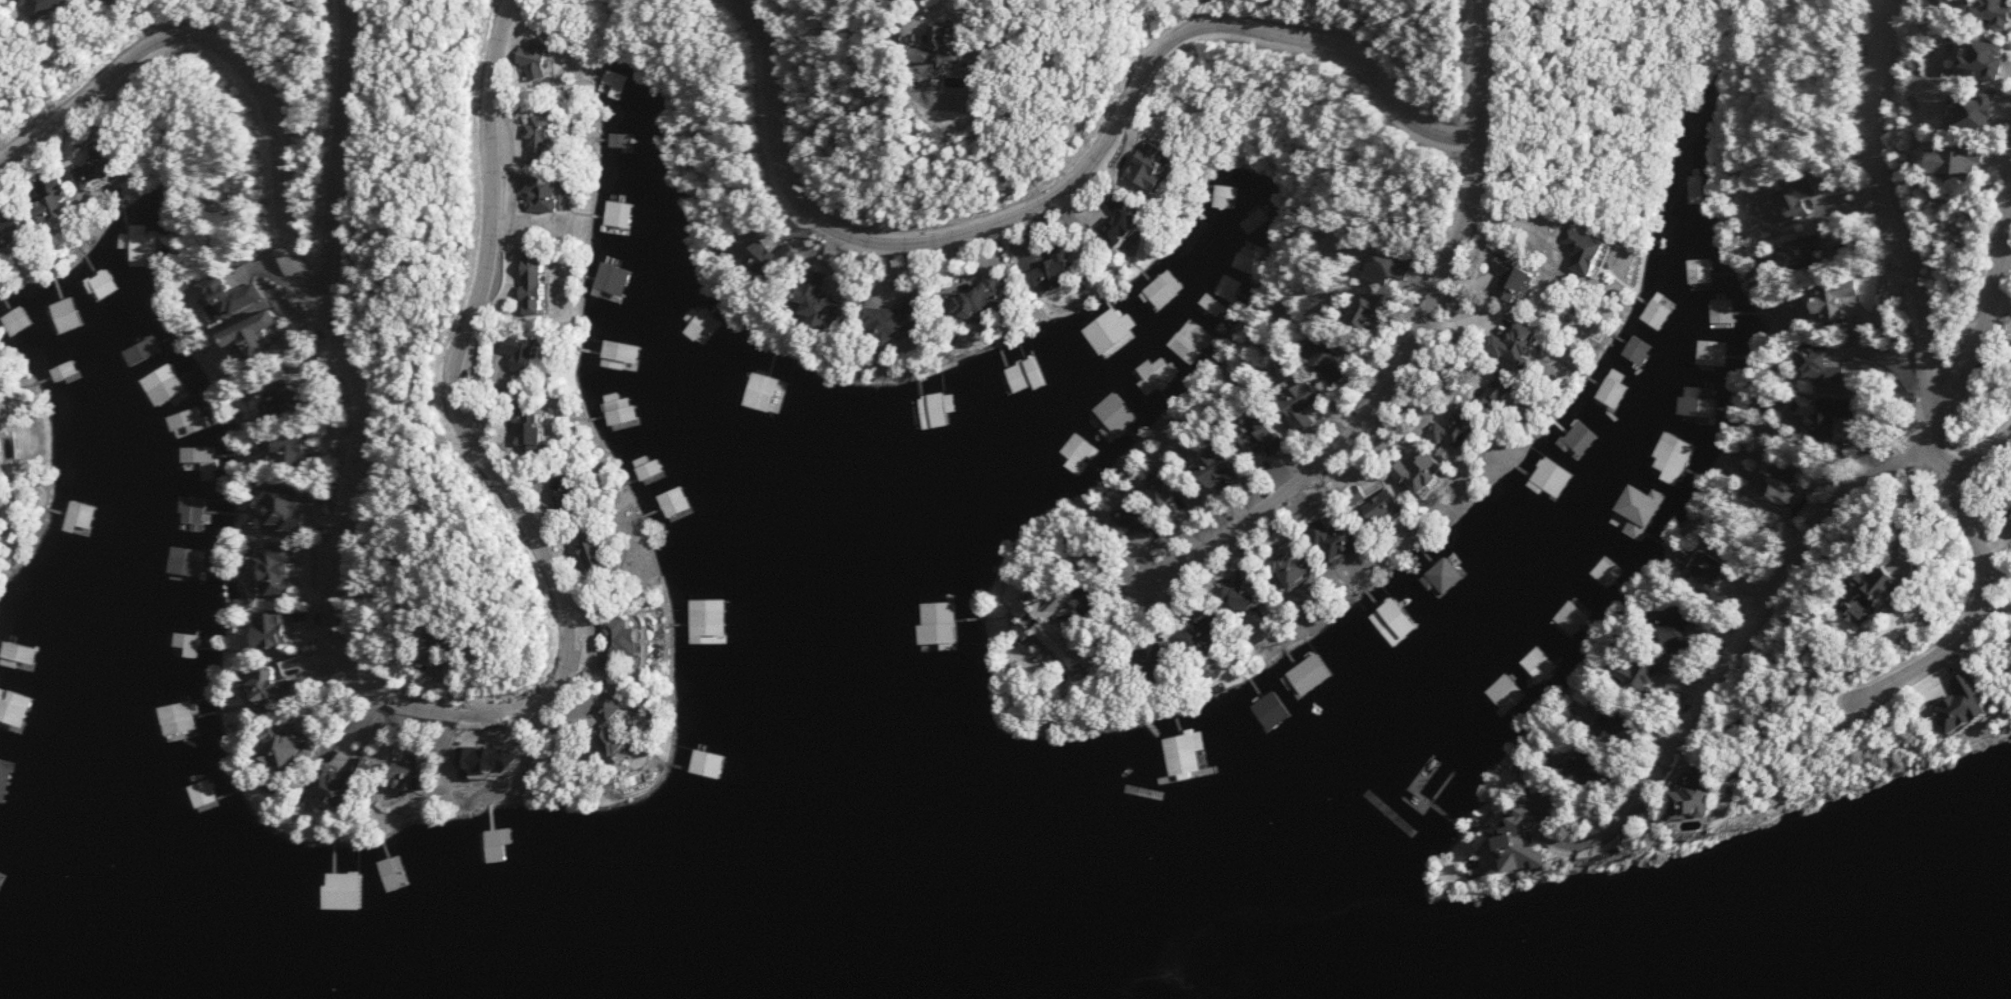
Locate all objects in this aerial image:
building: (1968, 11)
building: (969, 40)
building: (1960, 55)
building: (544, 56)
building: (1947, 107)
building: (549, 133)
building: (627, 140)
road: (344, 151)
building: (1926, 159)
building: (102, 166)
road: (1083, 179)
building: (1697, 189)
building: (556, 192)
building: (1793, 197)
building: (62, 200)
road: (1887, 216)
building: (1138, 220)
road: (1524, 223)
building: (16, 230)
building: (144, 241)
building: (1572, 249)
building: (1798, 251)
building: (773, 257)
building: (1399, 265)
building: (1063, 267)
building: (1586, 269)
building: (1699, 269)
building: (1494, 277)
building: (615, 278)
building: (550, 281)
building: (106, 283)
building: (1165, 288)
building: (236, 295)
building: (1515, 295)
building: (2009, 296)
building: (992, 297)
building: (829, 298)
building: (1828, 298)
building: (1375, 312)
building: (1654, 313)
building: (1721, 313)
building: (64, 315)
building: (906, 318)
building: (15, 320)
building: (2008, 320)
building: (704, 326)
road: (1981, 328)
building: (1111, 330)
building: (258, 334)
building: (1192, 340)
road: (1413, 345)
building: (2008, 345)
building: (145, 351)
building: (1513, 351)
building: (532, 353)
building: (1711, 353)
building: (624, 354)
building: (1345, 359)
building: (1813, 365)
building: (66, 374)
building: (1027, 374)
building: (1155, 374)
building: (165, 386)
building: (1608, 391)
building: (1486, 392)
building: (281, 401)
building: (1316, 403)
building: (1697, 404)
building: (941, 409)
building: (1117, 413)
building: (1814, 415)
building: (189, 424)
building: (1470, 431)
building: (549, 433)
building: (1275, 434)
building: (1080, 448)
road: (1985, 451)
building: (293, 452)
building: (1232, 467)
building: (1434, 471)
building: (1550, 478)
building: (1769, 484)
building: (1180, 488)
building: (587, 491)
building: (679, 502)
building: (1395, 504)
building: (3, 505)
building: (288, 506)
building: (198, 509)
building: (1632, 510)
building: (81, 517)
building: (1148, 520)
building: (2010, 524)
building: (1351, 540)
building: (1488, 540)
building: (615, 555)
building: (183, 566)
building: (1310, 567)
building: (280, 569)
building: (1608, 571)
building: (1443, 573)
building: (1696, 576)
building: (1262, 590)
building: (1841, 593)
road: (1981, 614)
building: (1571, 618)
building: (1394, 621)
building: (711, 625)
building: (942, 625)
building: (1220, 627)
building: (275, 629)
building: (1059, 632)
building: (1662, 633)
road: (1738, 639)
building: (637, 644)
building: (21, 655)
building: (1167, 662)
building: (1540, 663)
building: (1310, 669)
building: (1626, 673)
road: (363, 680)
building: (278, 690)
building: (1510, 691)
building: (1947, 705)
building: (622, 708)
building: (1270, 711)
building: (188, 721)
building: (1595, 723)
building: (627, 739)
building: (289, 748)
building: (1189, 754)
building: (707, 762)
building: (1567, 770)
building: (423, 772)
building: (5, 779)
building: (342, 785)
building: (204, 794)
building: (1665, 797)
building: (1532, 839)
building: (342, 891)

